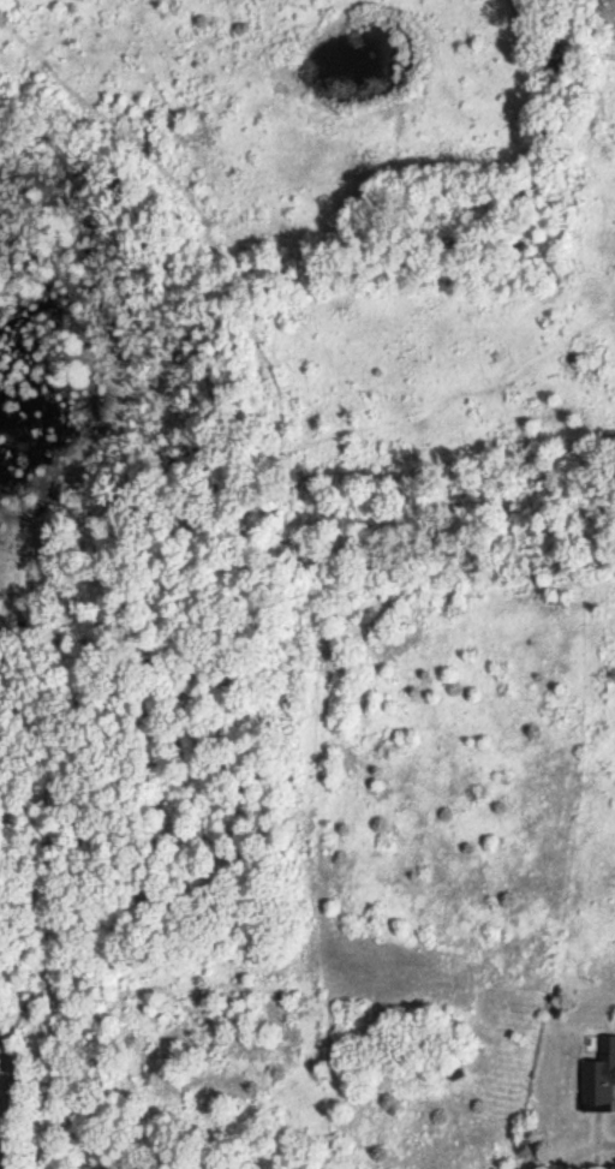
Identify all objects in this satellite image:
building: (601, 1080)

